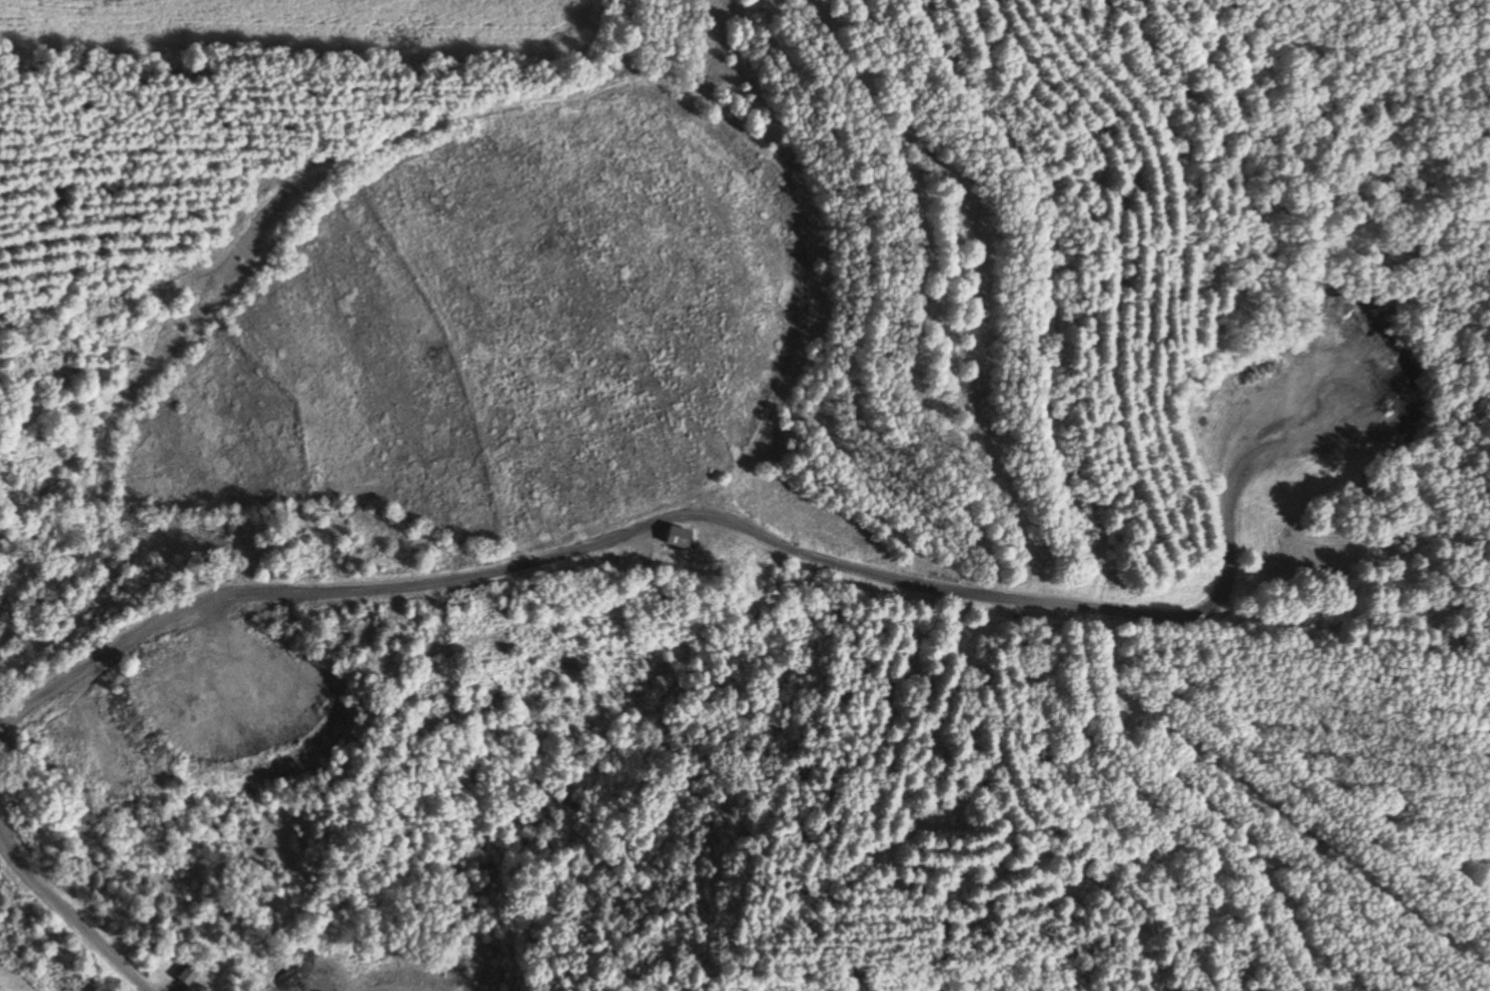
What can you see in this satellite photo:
road: (1472, 106)
building: (681, 538)
road: (1224, 560)
road: (523, 562)
road: (817, 601)
road: (1141, 684)
road: (1007, 705)
road: (69, 917)
building: (190, 975)
road: (1005, 981)

